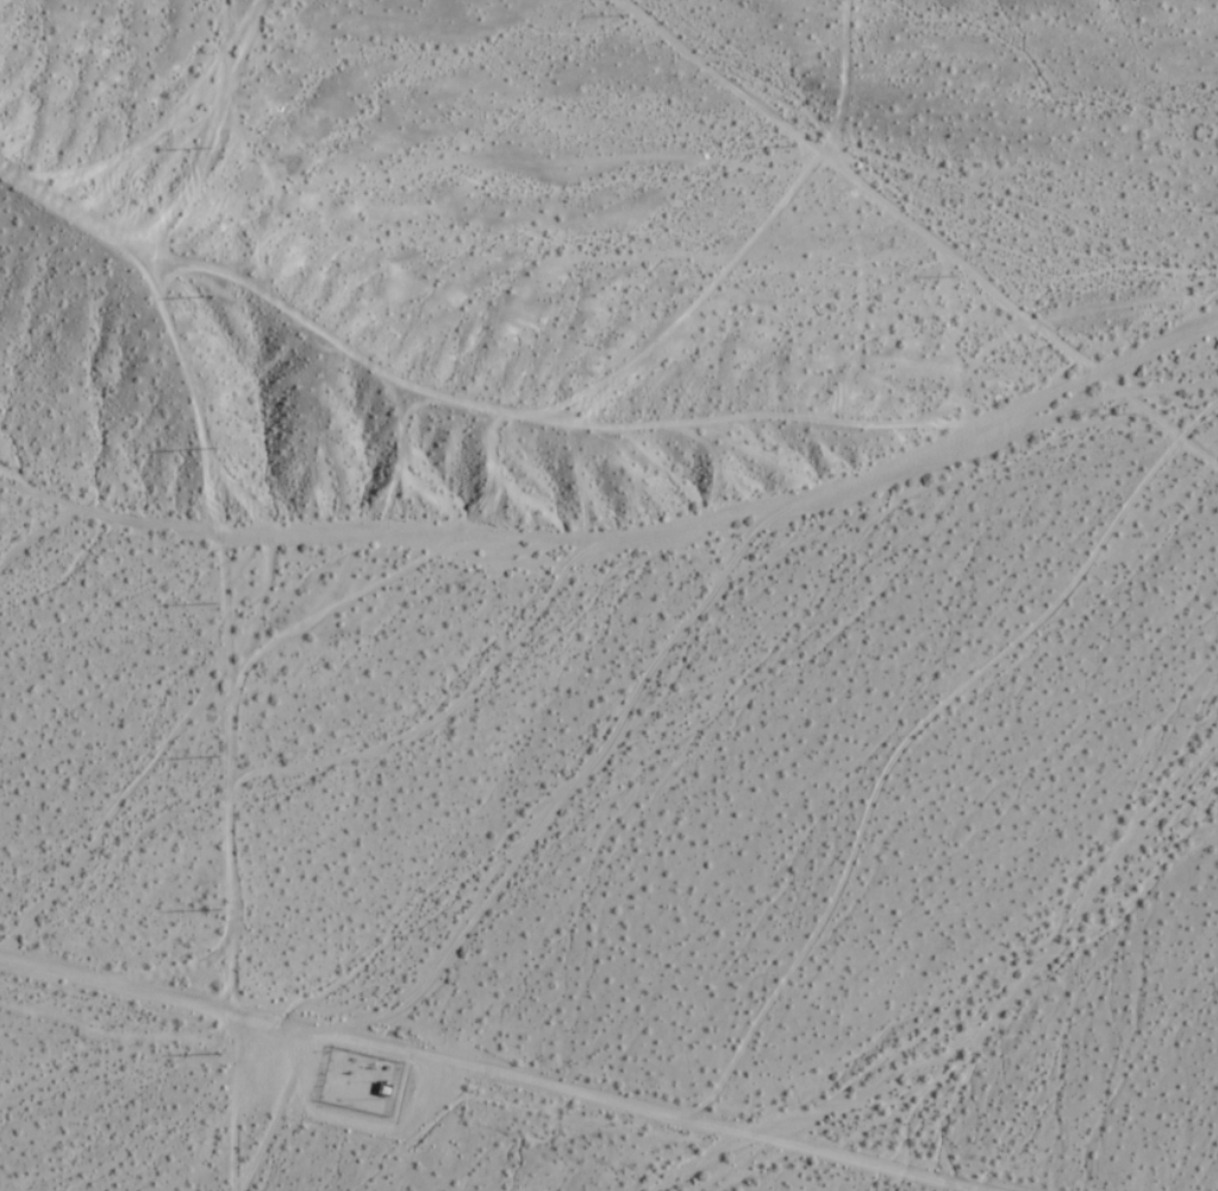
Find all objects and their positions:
road: (524, 1067)

